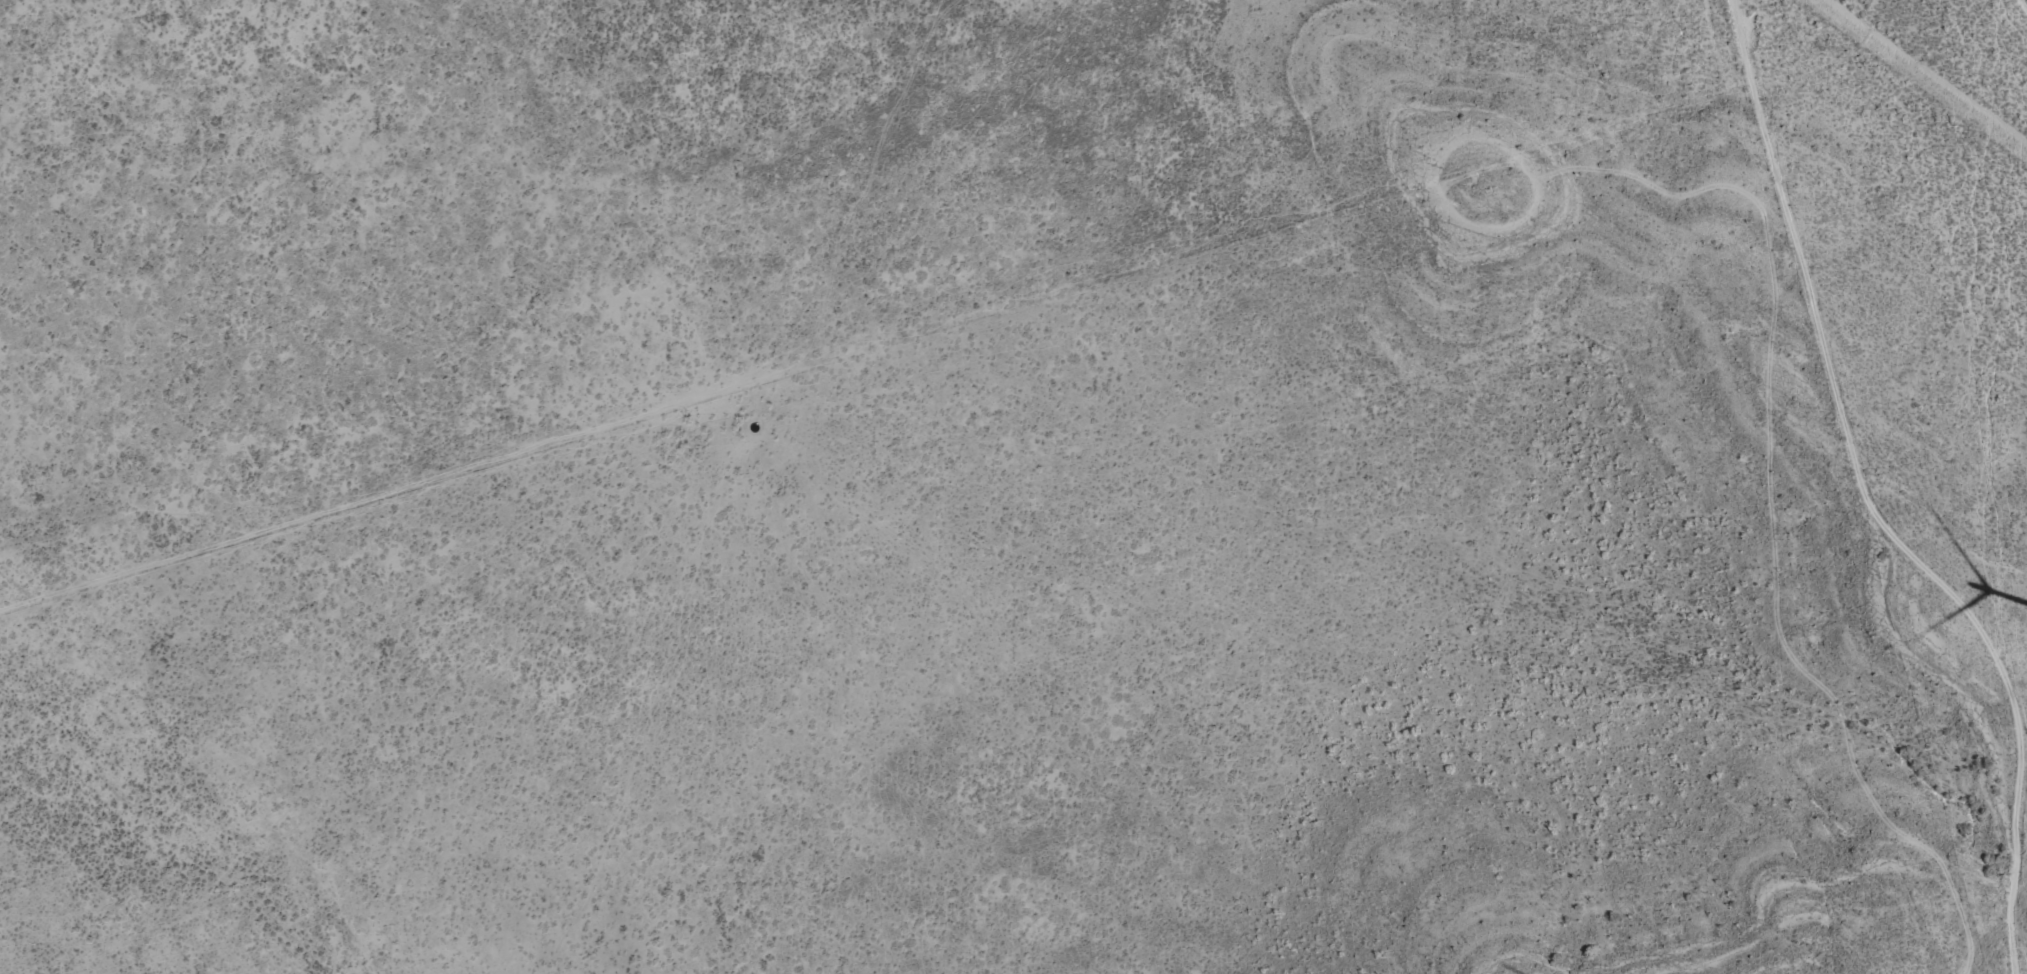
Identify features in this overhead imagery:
road: (1821, 357)
road: (1997, 871)

